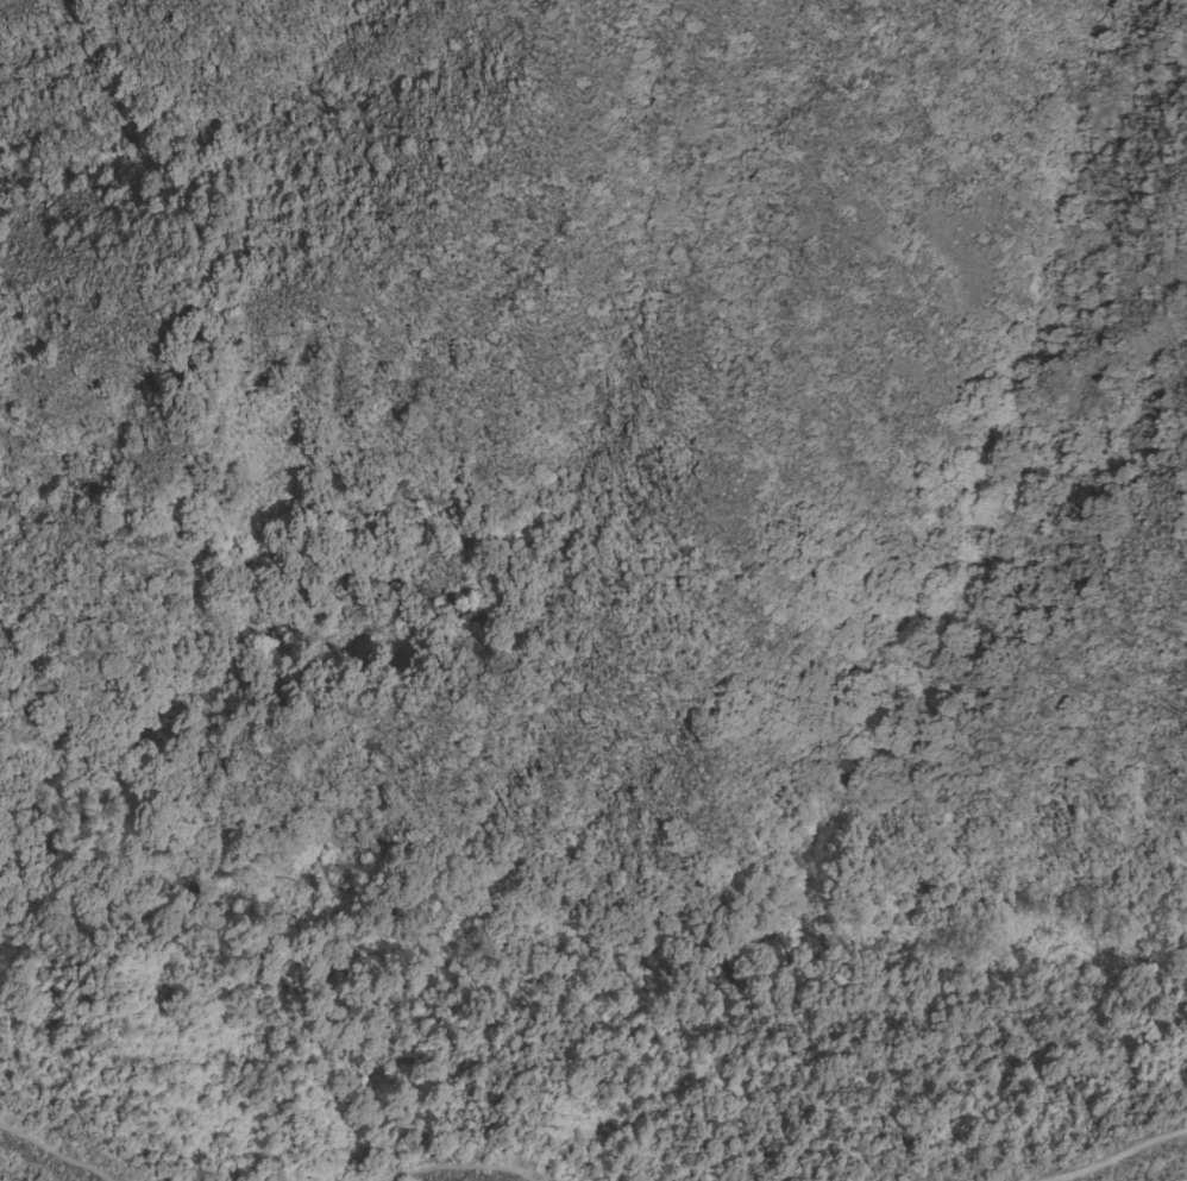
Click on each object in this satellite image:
road: (1110, 1160)

